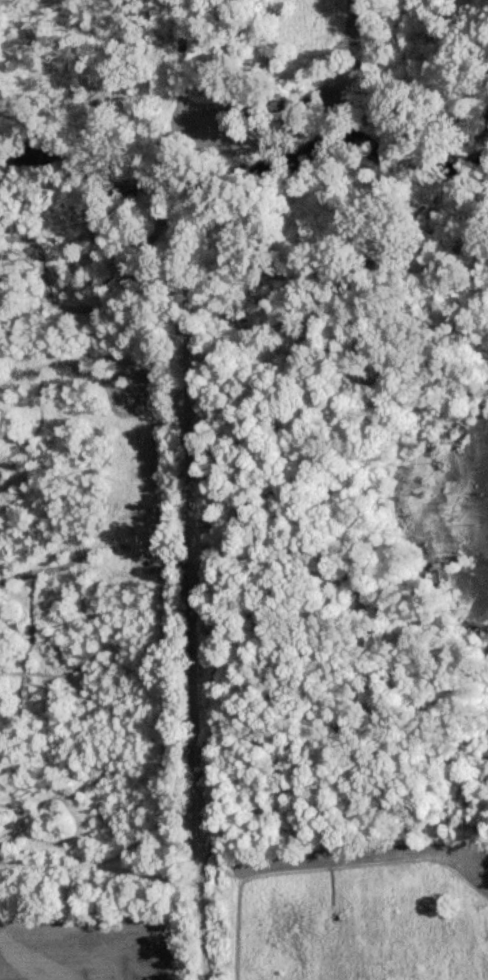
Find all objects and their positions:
river: (243, 179)

